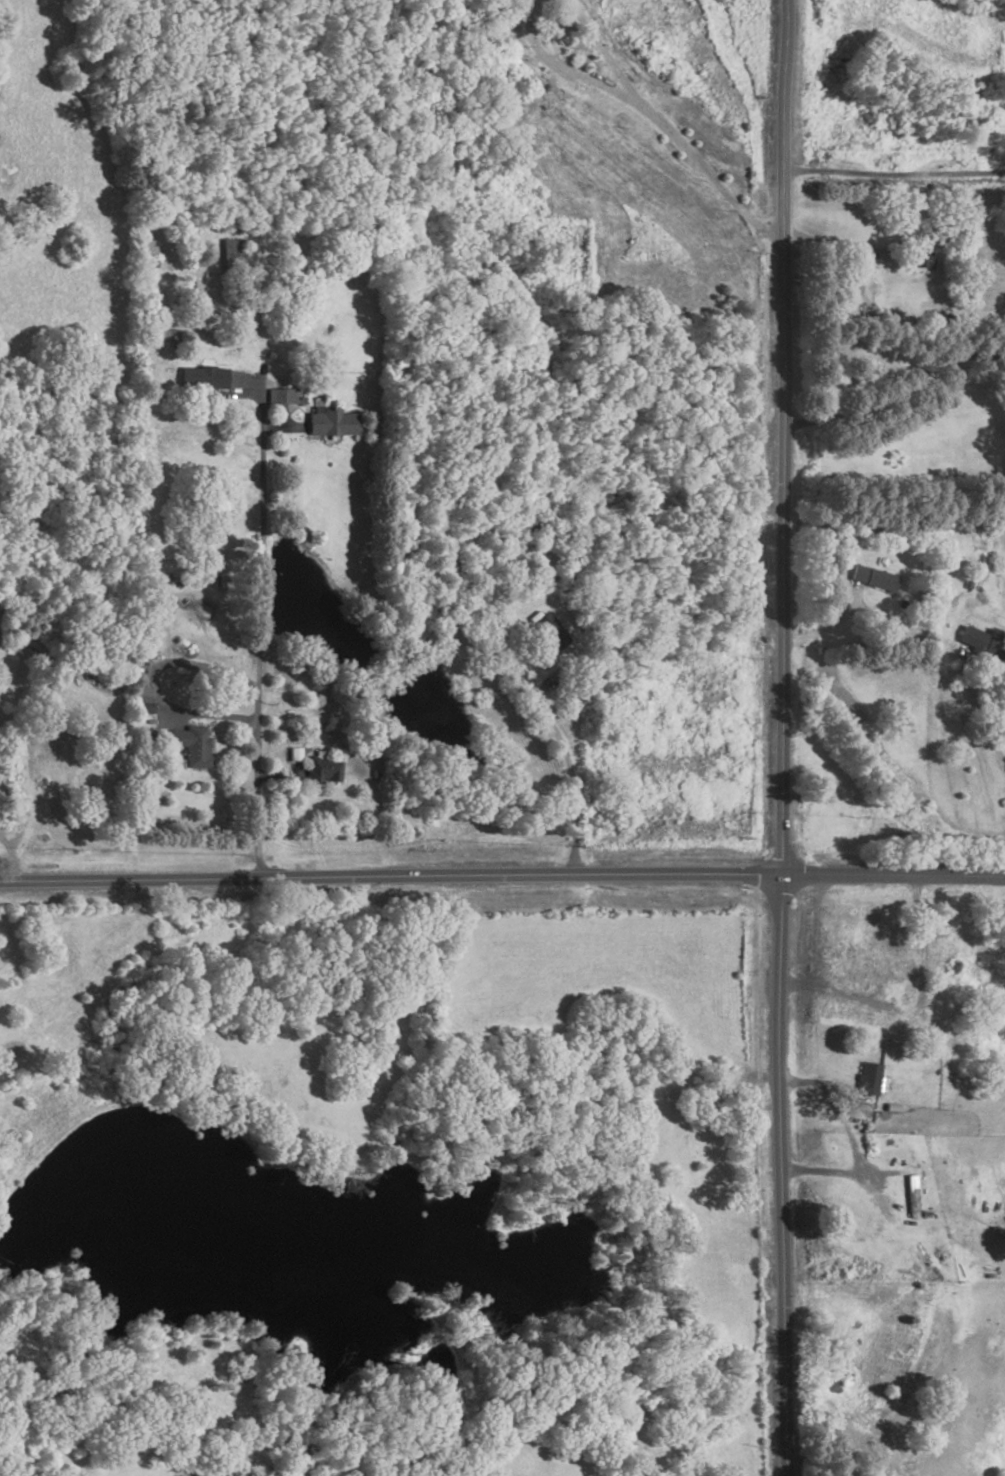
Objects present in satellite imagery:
road: (603, 51)
road: (565, 64)
road: (708, 174)
road: (893, 175)
road: (838, 249)
building: (232, 252)
building: (916, 258)
building: (854, 286)
building: (205, 378)
road: (894, 392)
building: (281, 395)
building: (331, 421)
building: (984, 541)
building: (870, 579)
building: (544, 626)
road: (257, 628)
road: (822, 630)
building: (981, 644)
road: (151, 679)
road: (964, 680)
road: (782, 738)
building: (193, 745)
building: (293, 762)
building: (321, 770)
road: (576, 779)
road: (7, 857)
road: (894, 875)
road: (391, 876)
road: (807, 985)
building: (891, 991)
road: (874, 1013)
building: (868, 1078)
road: (808, 1084)
road: (829, 1173)
building: (910, 1197)

